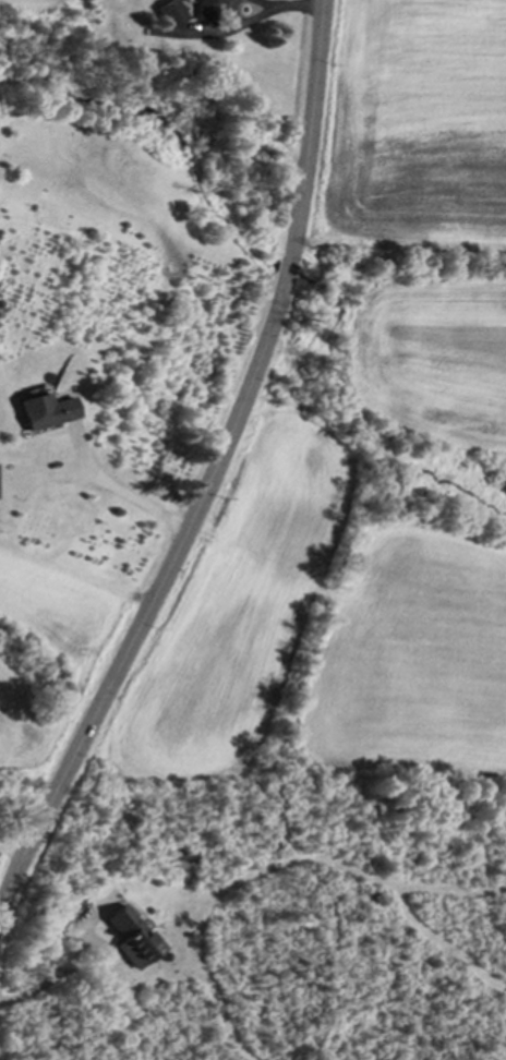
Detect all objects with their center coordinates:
road: (257, 2)
road: (293, 7)
building: (200, 11)
building: (164, 16)
road: (240, 22)
crop: (24, 51)
building: (38, 413)
crop: (363, 462)
road: (208, 469)
road: (121, 491)
building: (126, 938)
road: (104, 948)
road: (35, 987)

